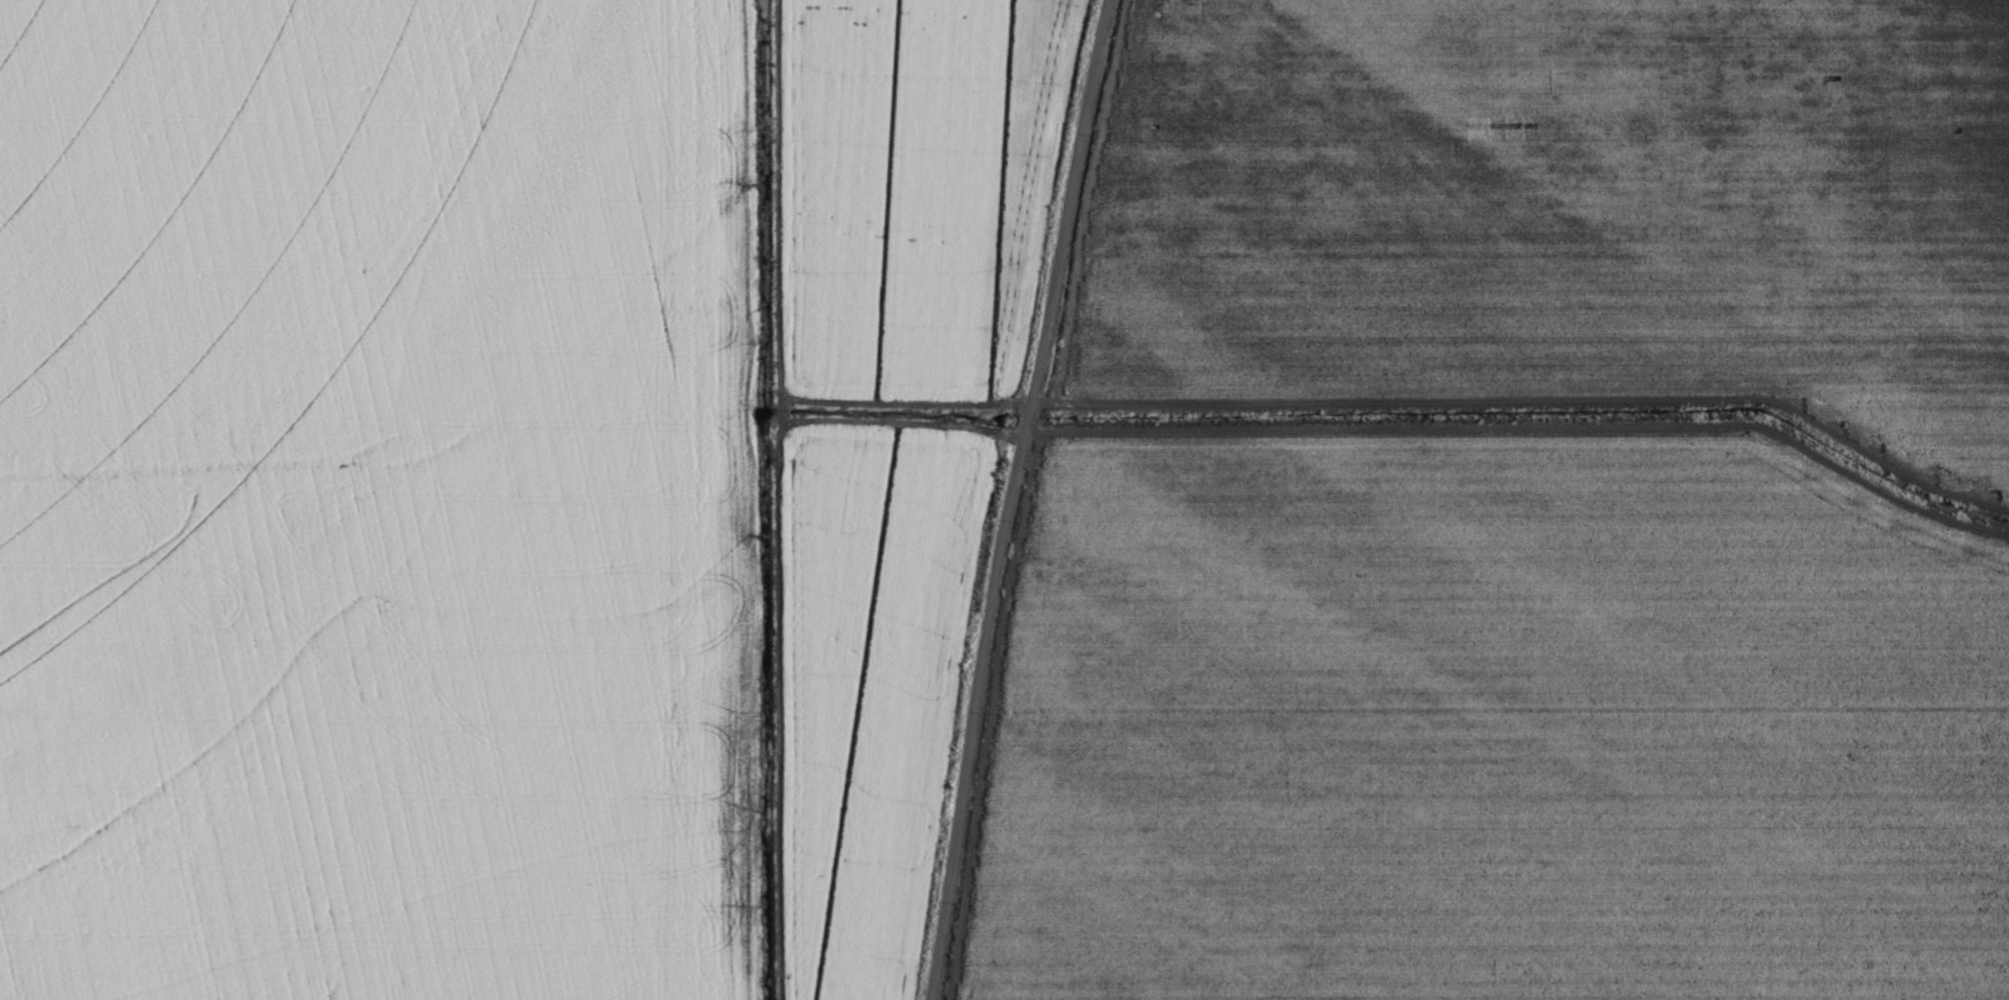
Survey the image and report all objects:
road: (1017, 498)

